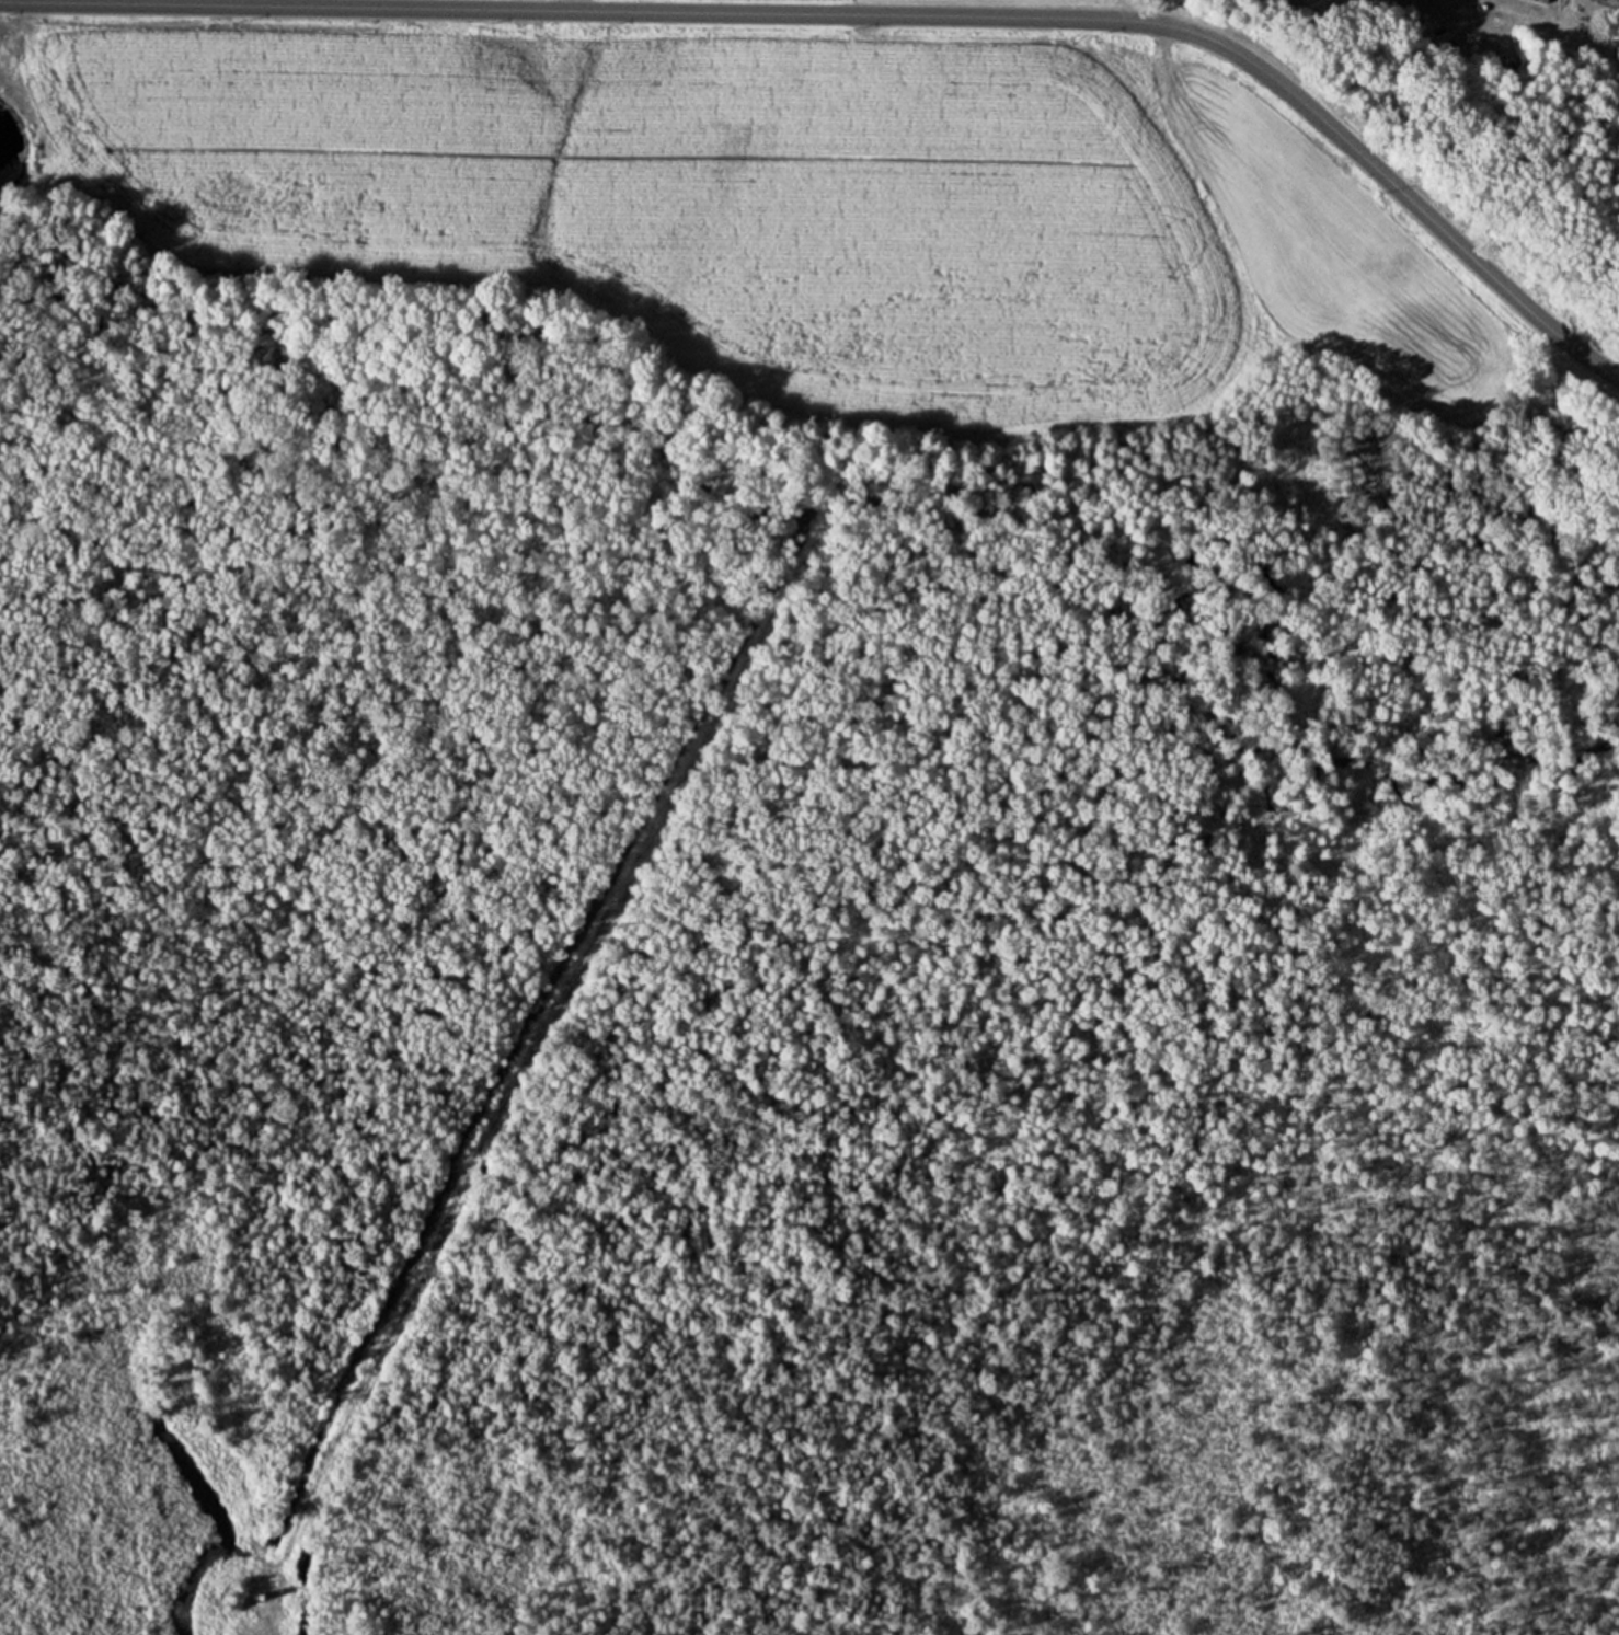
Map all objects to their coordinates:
road: (581, 4)
road: (873, 13)

